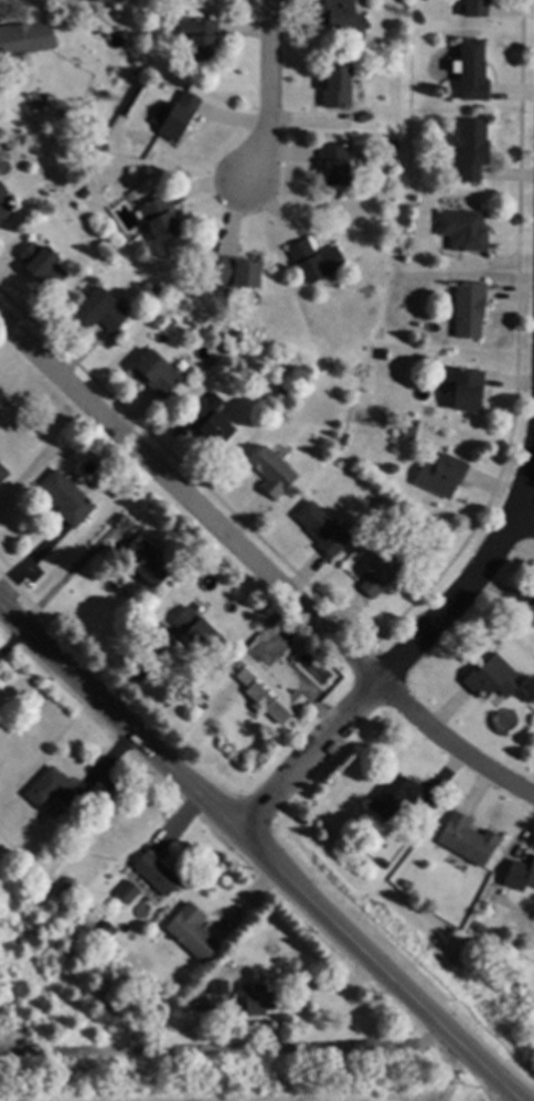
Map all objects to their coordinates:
building: (102, 0)
building: (116, 6)
building: (478, 8)
building: (344, 18)
building: (202, 36)
building: (26, 38)
building: (474, 71)
building: (338, 87)
road: (265, 93)
building: (177, 116)
building: (365, 117)
building: (396, 144)
building: (474, 148)
building: (337, 163)
building: (3, 191)
building: (3, 213)
building: (162, 218)
building: (467, 230)
building: (318, 261)
building: (44, 264)
building: (239, 273)
building: (156, 290)
building: (471, 309)
building: (102, 310)
building: (239, 335)
building: (394, 363)
building: (159, 373)
building: (467, 388)
building: (285, 390)
building: (211, 423)
building: (410, 432)
building: (274, 472)
building: (3, 474)
building: (444, 475)
building: (117, 491)
building: (68, 498)
road: (189, 502)
building: (381, 502)
road: (524, 526)
building: (324, 529)
building: (148, 561)
building: (384, 571)
building: (533, 610)
building: (199, 629)
building: (302, 639)
road: (404, 655)
building: (494, 677)
building: (269, 691)
road: (451, 747)
building: (55, 790)
building: (403, 797)
building: (469, 839)
road: (259, 853)
building: (386, 864)
building: (159, 872)
building: (531, 876)
building: (409, 885)
building: (70, 886)
building: (129, 892)
building: (481, 929)
building: (110, 930)
building: (194, 932)
building: (215, 996)
building: (261, 999)
building: (158, 1008)
road: (223, 1050)

